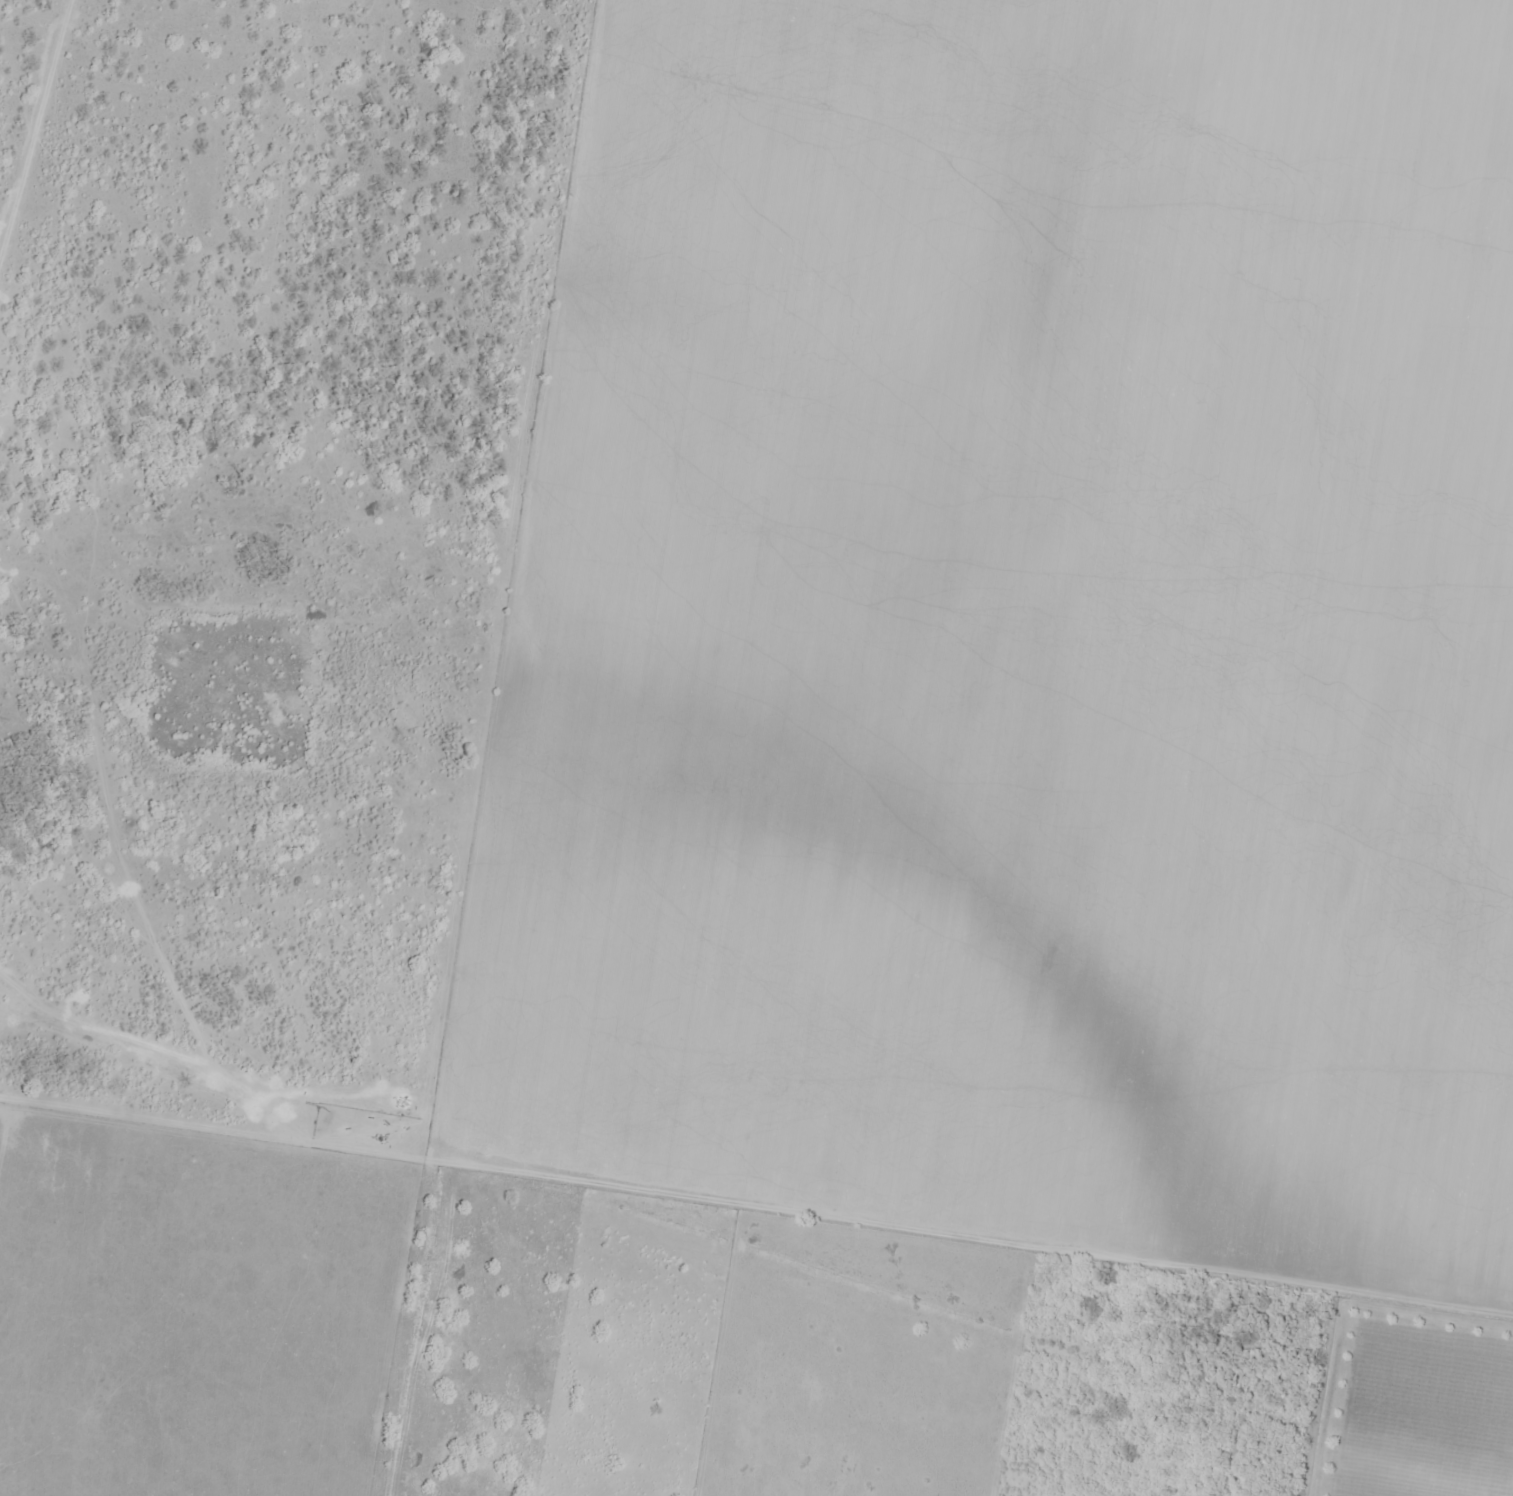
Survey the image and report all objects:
road: (386, 36)
road: (743, 1247)

